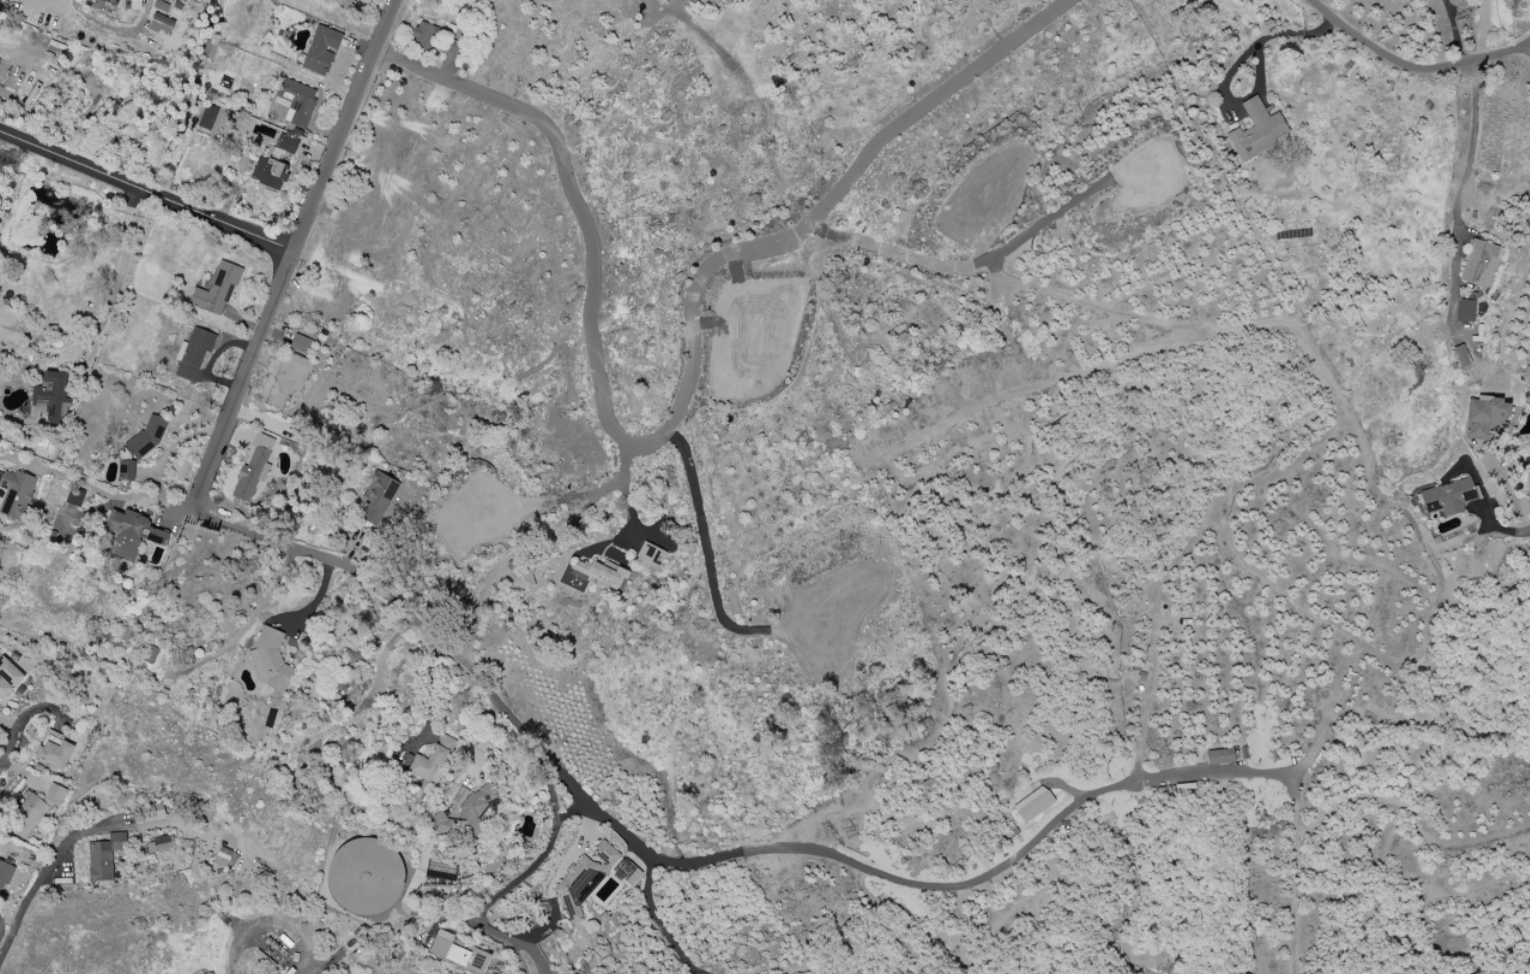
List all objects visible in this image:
building: (109, 2)
building: (341, 3)
building: (129, 4)
building: (160, 23)
road: (1484, 27)
road: (1456, 29)
building: (432, 39)
road: (1526, 39)
road: (1526, 45)
building: (320, 51)
road: (1410, 62)
road: (1235, 65)
road: (934, 98)
building: (297, 101)
building: (207, 117)
building: (1257, 129)
building: (275, 164)
road: (147, 193)
road: (1459, 195)
building: (1478, 263)
road: (115, 285)
building: (218, 291)
building: (1465, 310)
road: (1299, 332)
building: (301, 344)
building: (1461, 355)
building: (197, 356)
road: (594, 366)
building: (288, 381)
building: (53, 396)
building: (1484, 416)
building: (148, 437)
building: (125, 469)
building: (251, 475)
road: (1499, 478)
road: (79, 481)
building: (16, 494)
building: (74, 497)
building: (1447, 497)
building: (377, 498)
road: (163, 500)
road: (1483, 502)
road: (627, 506)
building: (134, 535)
road: (535, 544)
road: (1186, 553)
building: (649, 556)
building: (601, 574)
road: (312, 601)
building: (149, 655)
building: (269, 662)
building: (8, 677)
road: (497, 697)
road: (14, 736)
building: (53, 750)
building: (1219, 756)
building: (430, 762)
building: (1032, 804)
building: (33, 810)
building: (152, 812)
building: (467, 814)
building: (159, 844)
road: (64, 851)
building: (104, 856)
building: (225, 857)
road: (539, 859)
building: (626, 872)
building: (4, 876)
building: (366, 877)
building: (583, 881)
road: (12, 932)
road: (519, 944)
building: (457, 953)
road: (516, 954)
road: (542, 962)

